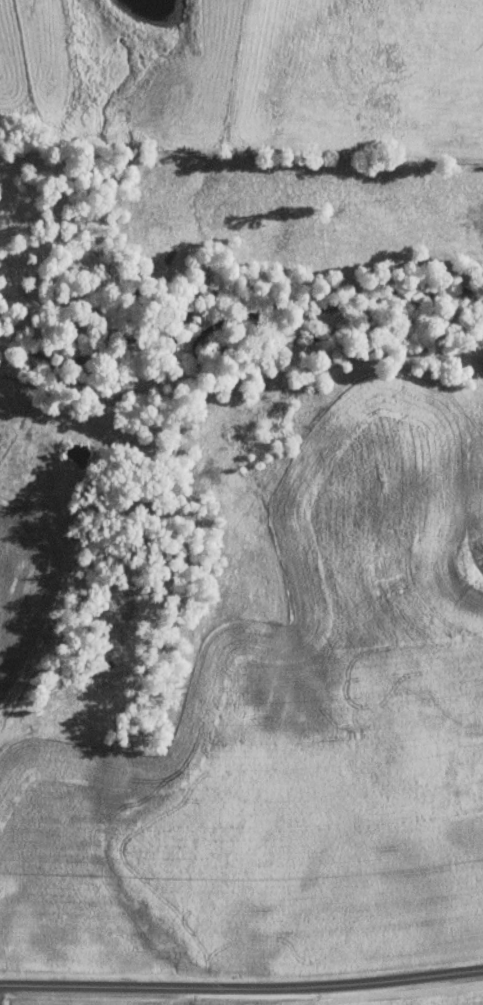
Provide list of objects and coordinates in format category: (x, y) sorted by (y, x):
road: (241, 987)

